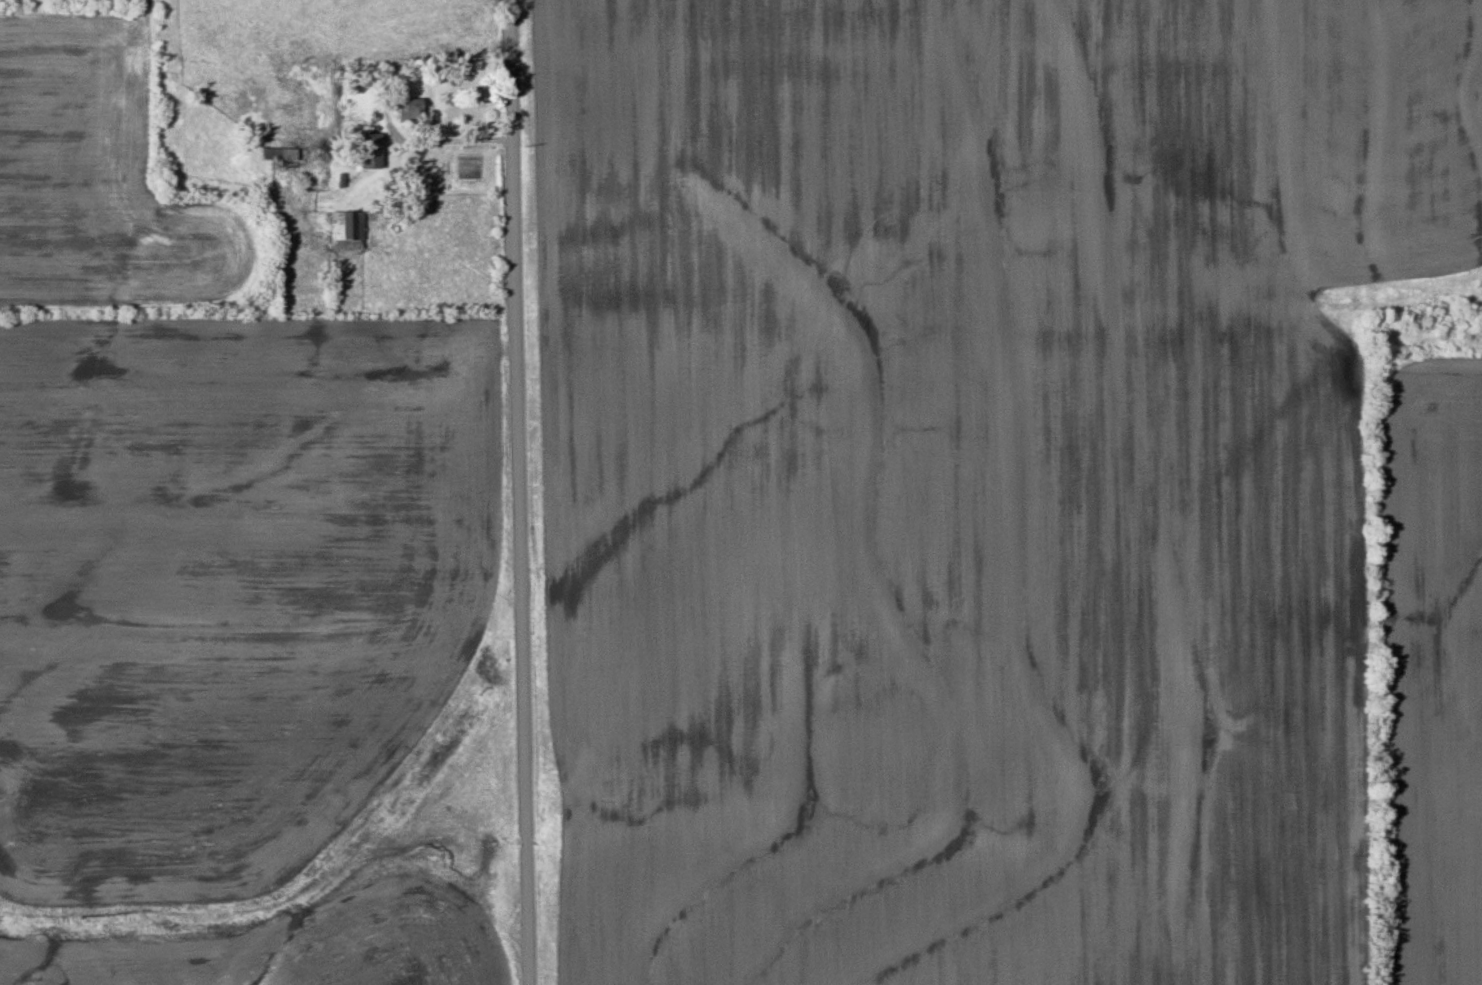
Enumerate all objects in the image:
building: (407, 110)
building: (369, 151)
building: (284, 154)
building: (344, 230)
road: (522, 492)

